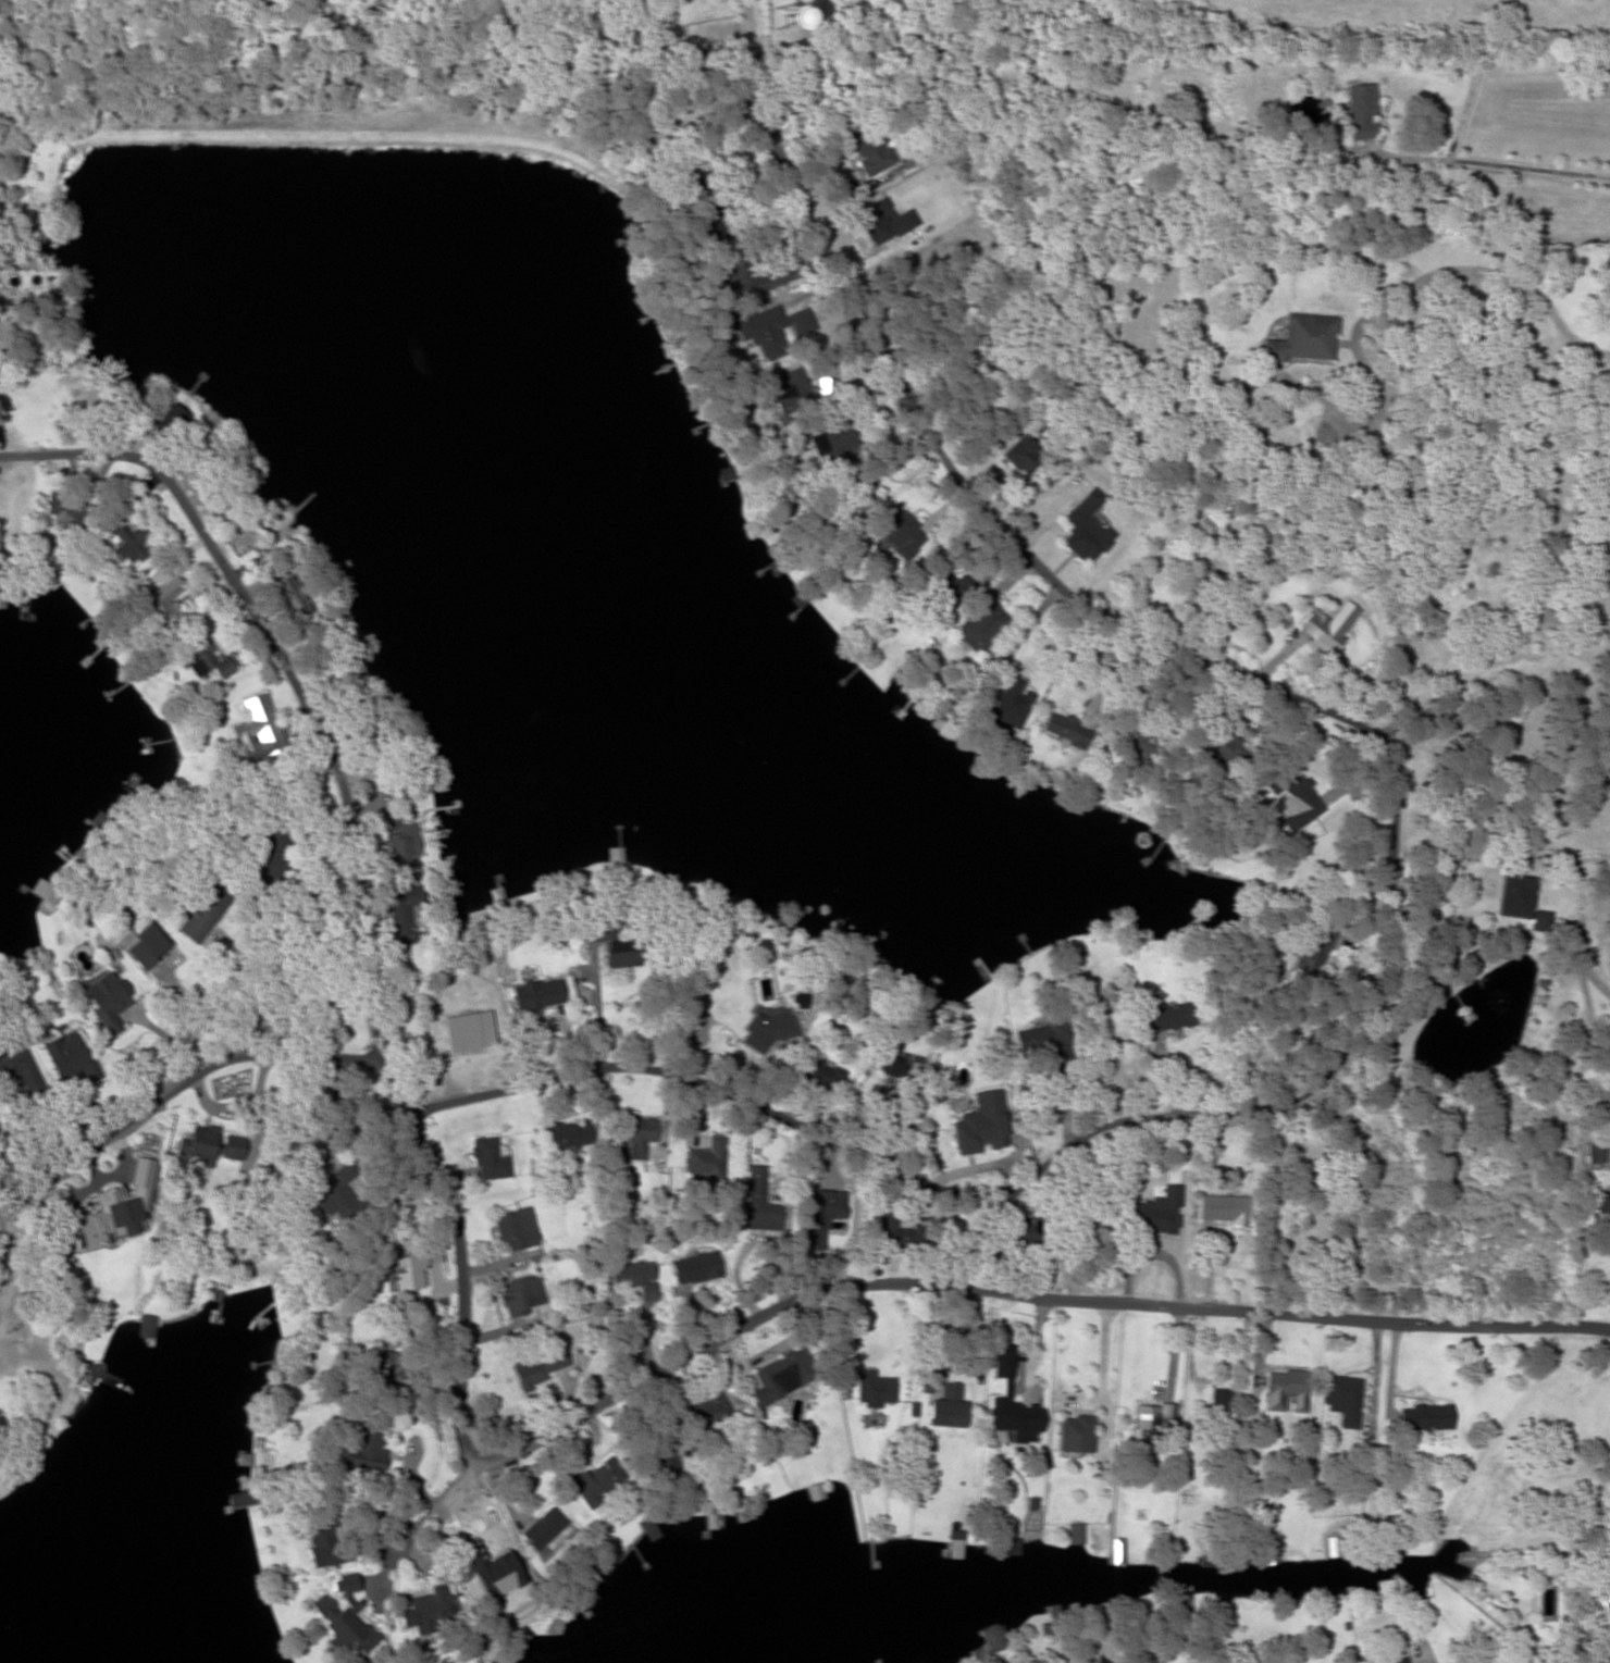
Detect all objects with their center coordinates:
building: (1364, 112)
building: (872, 156)
building: (709, 209)
building: (756, 276)
road: (1511, 278)
building: (777, 330)
building: (1302, 339)
road: (1369, 367)
building: (170, 418)
building: (834, 445)
building: (1023, 456)
building: (725, 475)
building: (63, 511)
building: (903, 533)
building: (127, 546)
building: (949, 586)
building: (1, 597)
building: (289, 599)
building: (162, 605)
building: (1321, 635)
building: (202, 662)
building: (1011, 705)
road: (242, 716)
building: (260, 724)
building: (1066, 730)
building: (1132, 746)
building: (1296, 792)
building: (398, 844)
building: (270, 855)
building: (1513, 896)
building: (202, 913)
building: (406, 916)
building: (589, 933)
building: (145, 944)
building: (618, 947)
building: (1312, 948)
road: (1383, 970)
building: (537, 994)
building: (108, 1001)
building: (1168, 1016)
building: (1608, 1026)
building: (768, 1029)
building: (1043, 1041)
building: (70, 1059)
building: (895, 1065)
building: (20, 1070)
building: (818, 1075)
road: (174, 1093)
building: (637, 1130)
building: (566, 1138)
building: (208, 1145)
building: (490, 1159)
building: (705, 1159)
building: (759, 1203)
building: (1602, 1204)
building: (1222, 1208)
building: (109, 1214)
building: (1156, 1216)
building: (1018, 1227)
building: (515, 1230)
building: (895, 1234)
road: (350, 1264)
road: (455, 1265)
building: (694, 1267)
road: (987, 1292)
building: (213, 1294)
building: (520, 1296)
building: (146, 1327)
building: (10, 1329)
building: (374, 1366)
building: (533, 1370)
building: (782, 1376)
building: (95, 1380)
building: (875, 1390)
building: (1285, 1391)
building: (1342, 1400)
building: (1221, 1406)
building: (948, 1407)
building: (707, 1412)
building: (1425, 1418)
building: (1015, 1419)
building: (1145, 1424)
building: (1074, 1435)
building: (364, 1451)
building: (664, 1455)
building: (44, 1476)
building: (598, 1482)
building: (815, 1492)
building: (235, 1502)
building: (710, 1519)
building: (547, 1532)
building: (1076, 1535)
road: (409, 1538)
building: (1011, 1548)
building: (481, 1557)
building: (1421, 1596)
building: (418, 1612)
building: (993, 1638)
building: (1397, 1654)

